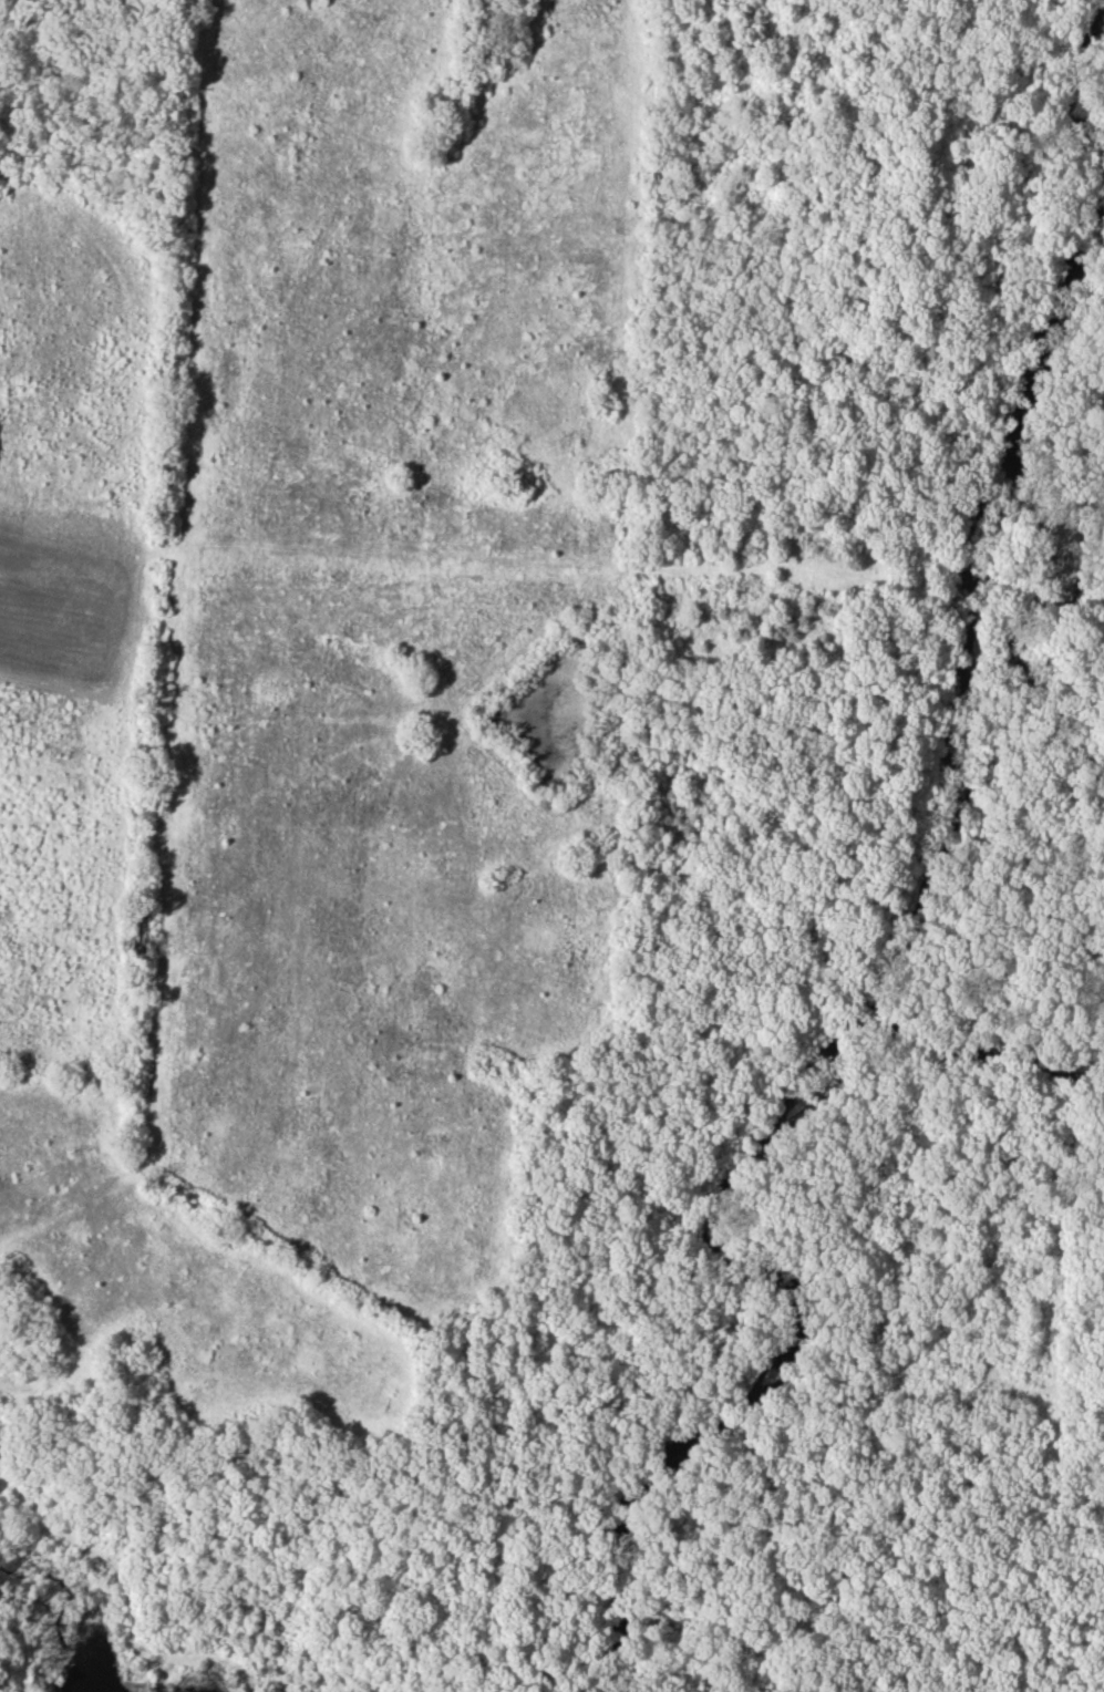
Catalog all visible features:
park: (551, 846)

